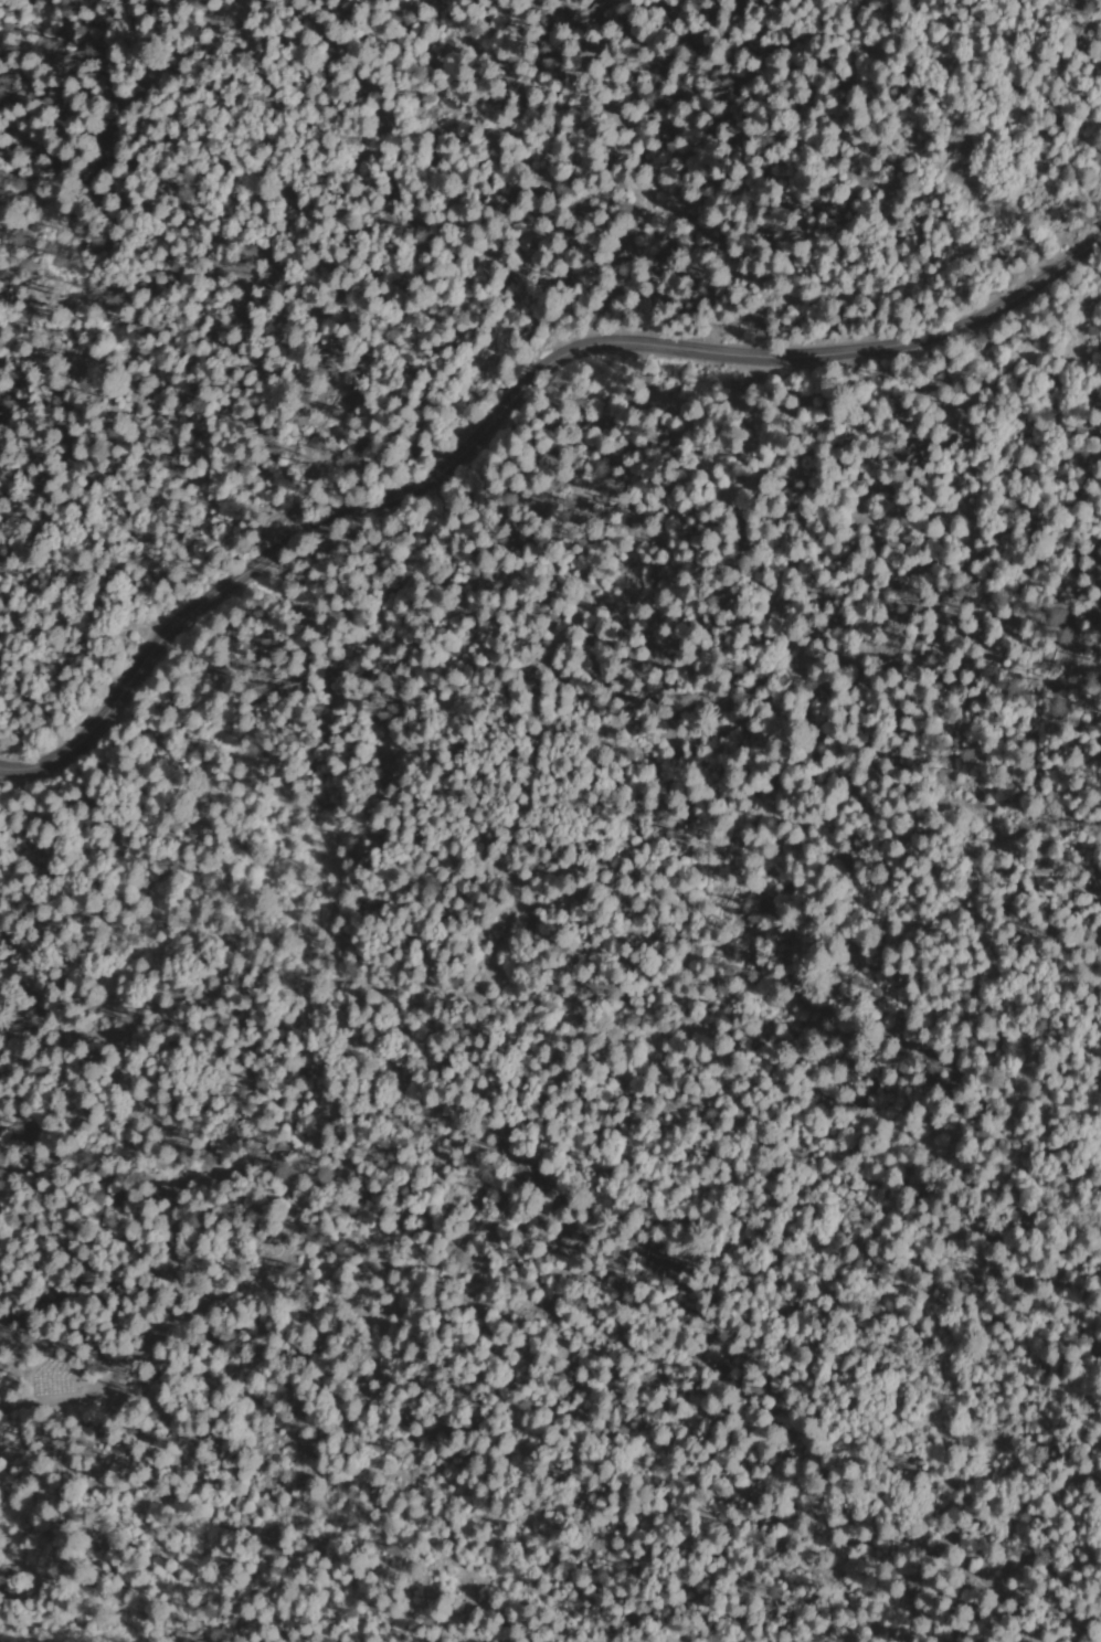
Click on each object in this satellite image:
road: (509, 401)

